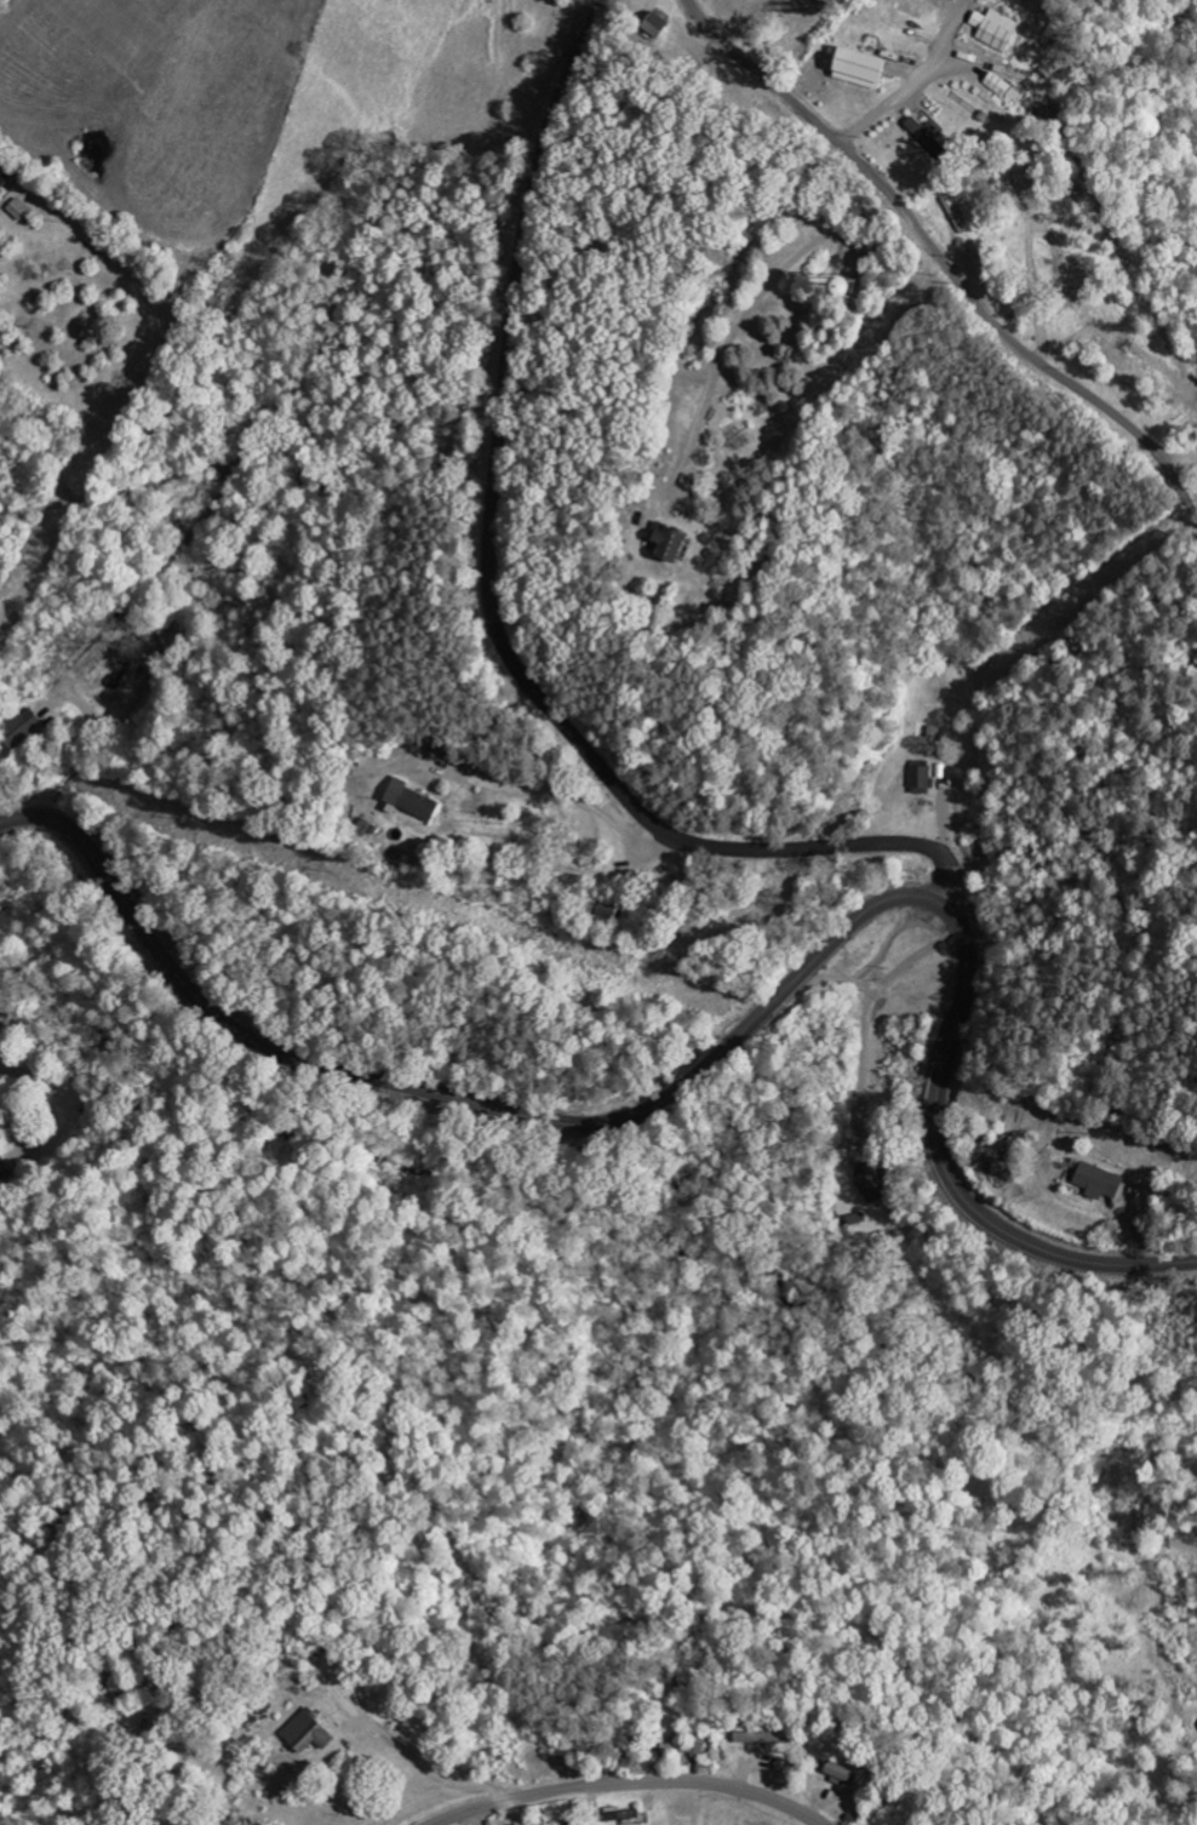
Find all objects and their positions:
building: (657, 25)
building: (997, 30)
building: (863, 69)
building: (1006, 90)
building: (933, 141)
road: (943, 258)
building: (852, 288)
building: (1128, 343)
building: (1112, 351)
building: (670, 545)
road: (494, 612)
building: (92, 664)
building: (22, 728)
building: (922, 779)
building: (413, 802)
road: (717, 1057)
building: (1101, 1183)
building: (871, 1184)
building: (309, 1733)
building: (762, 1739)
building: (842, 1773)
road: (629, 1785)
building: (622, 1817)

